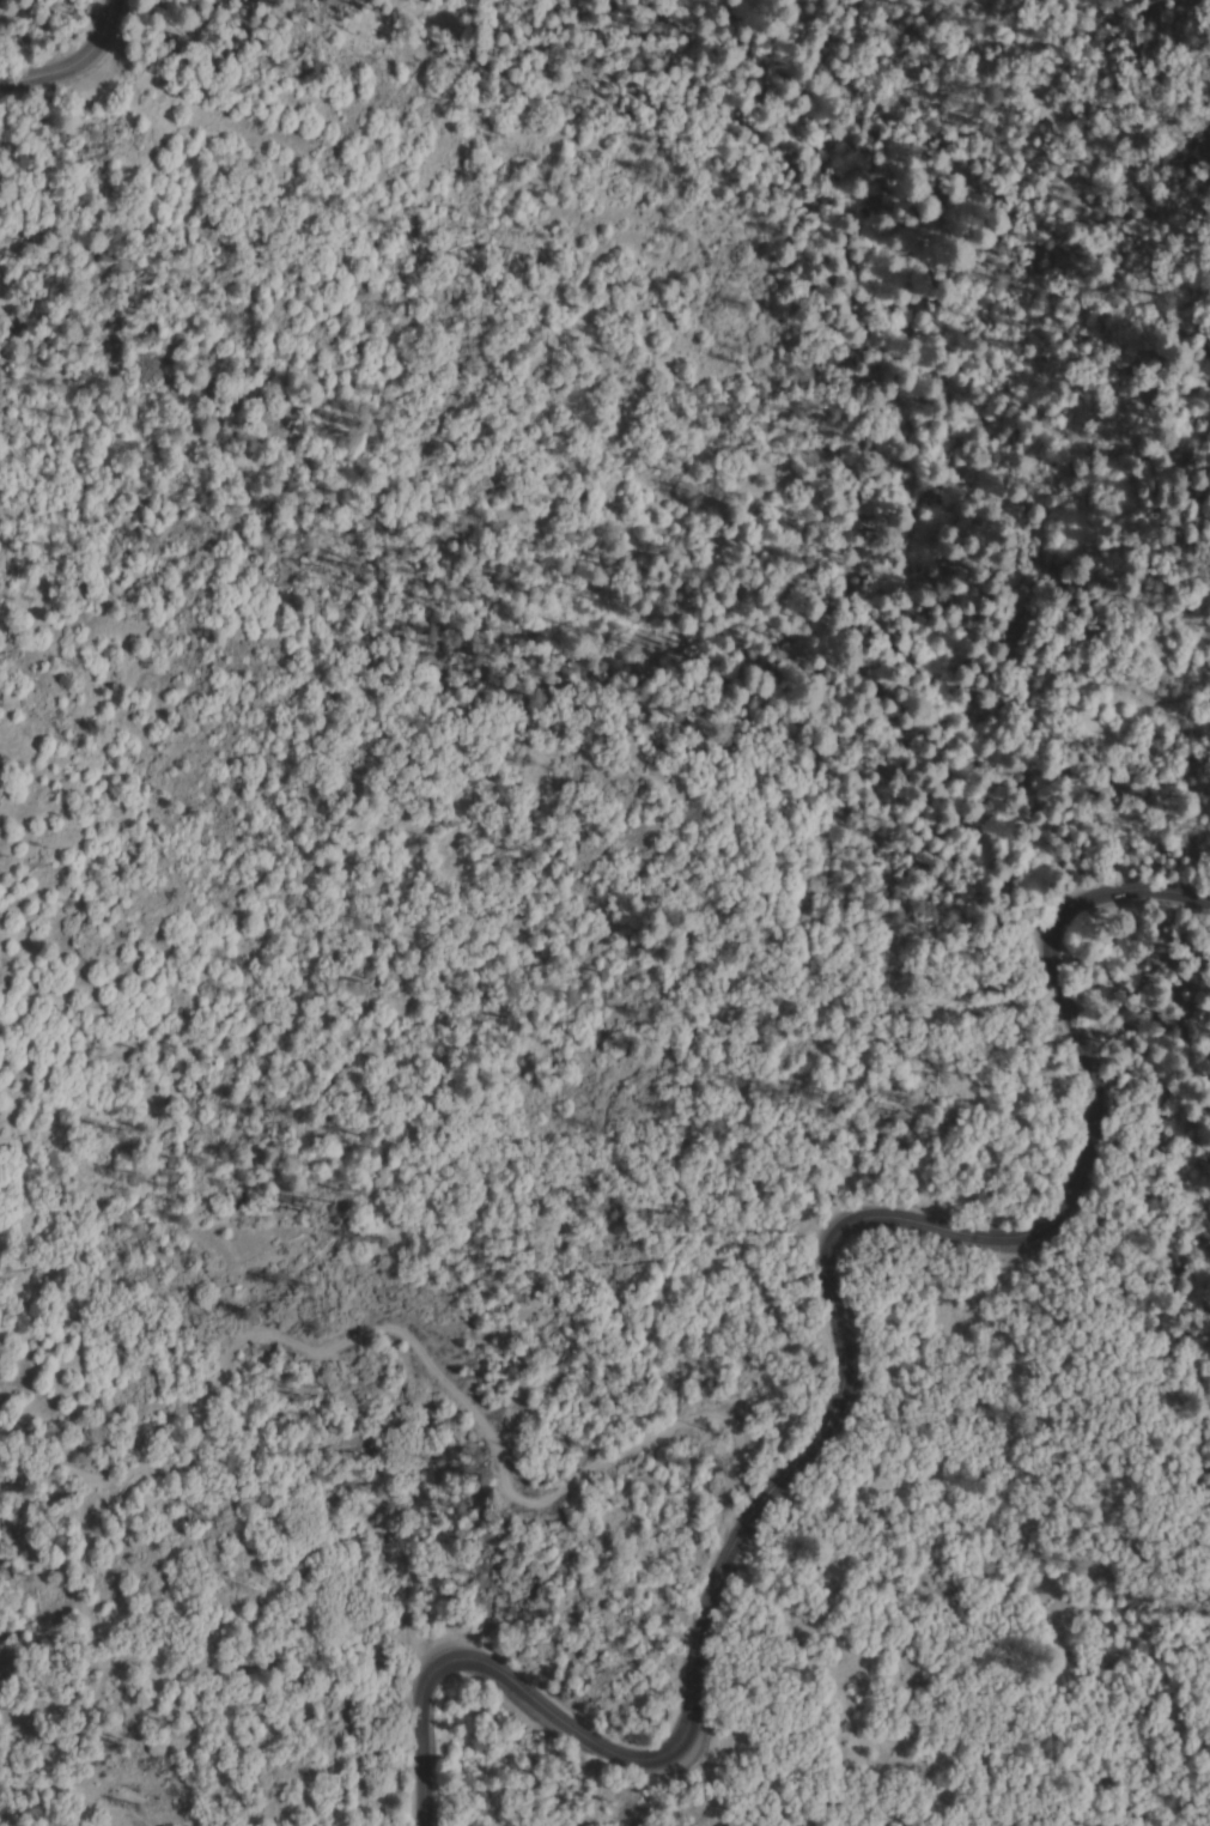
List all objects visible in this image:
road: (72, 61)
road: (442, 1371)
road: (840, 1371)

